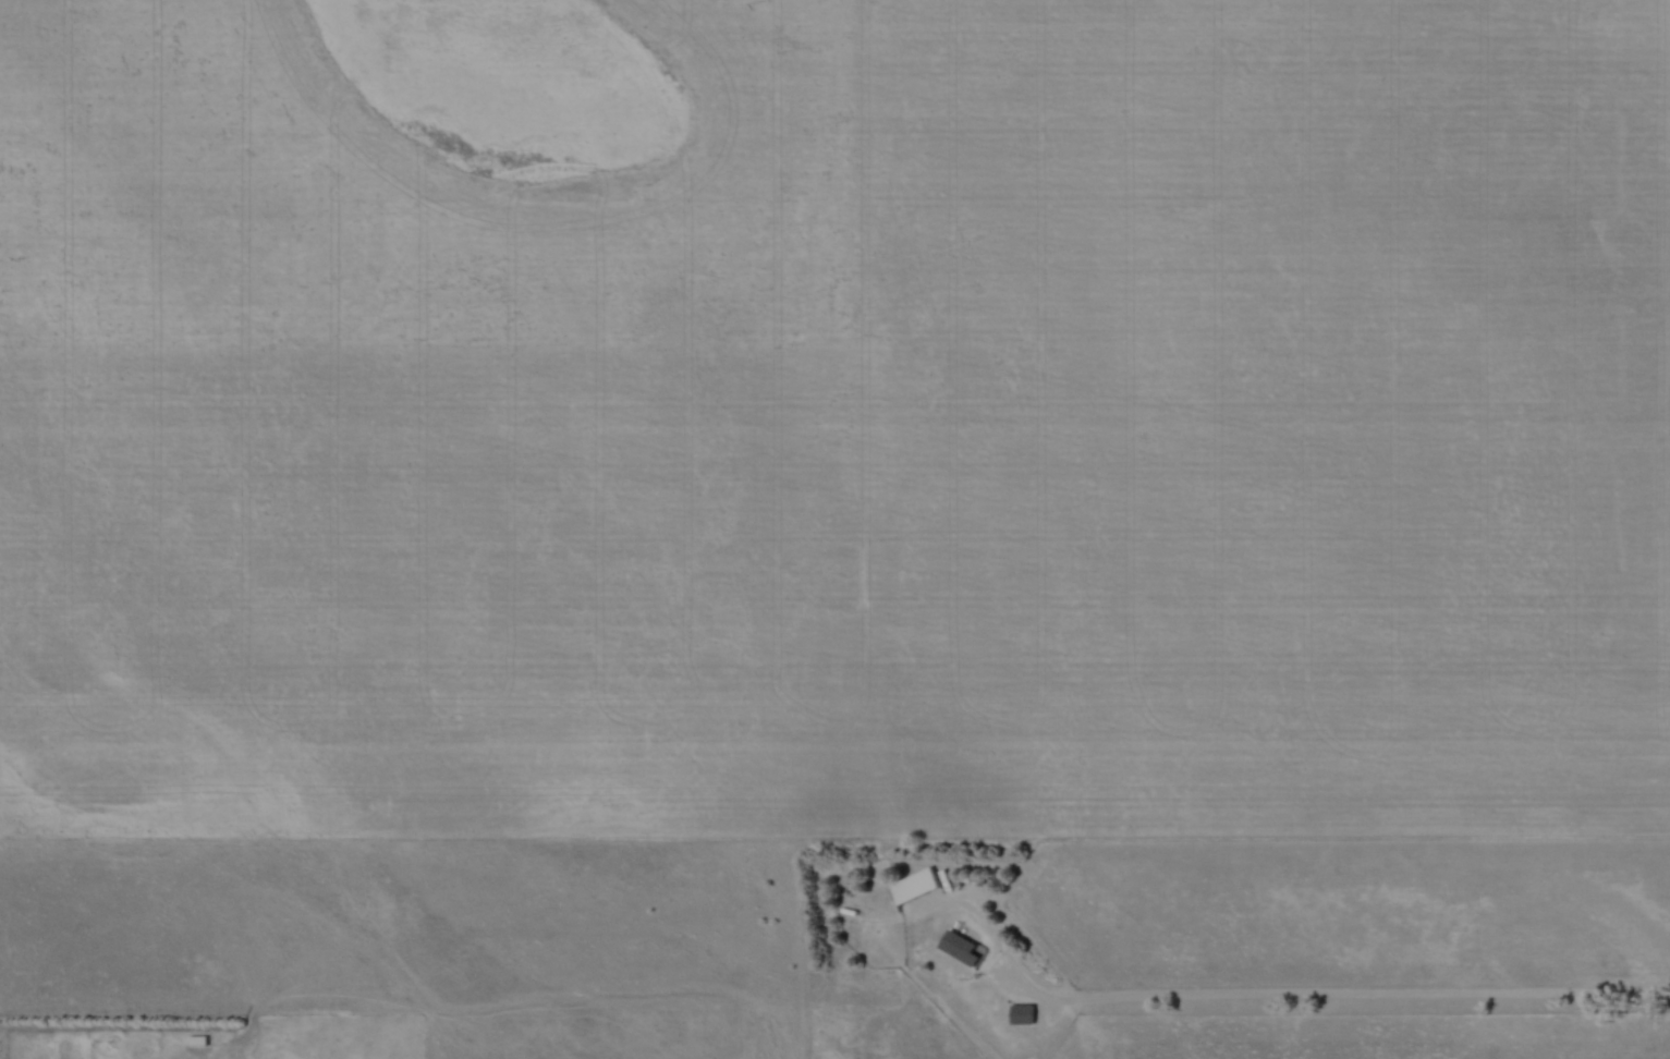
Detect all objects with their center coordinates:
building: (915, 886)
road: (1334, 991)
building: (1022, 1015)

